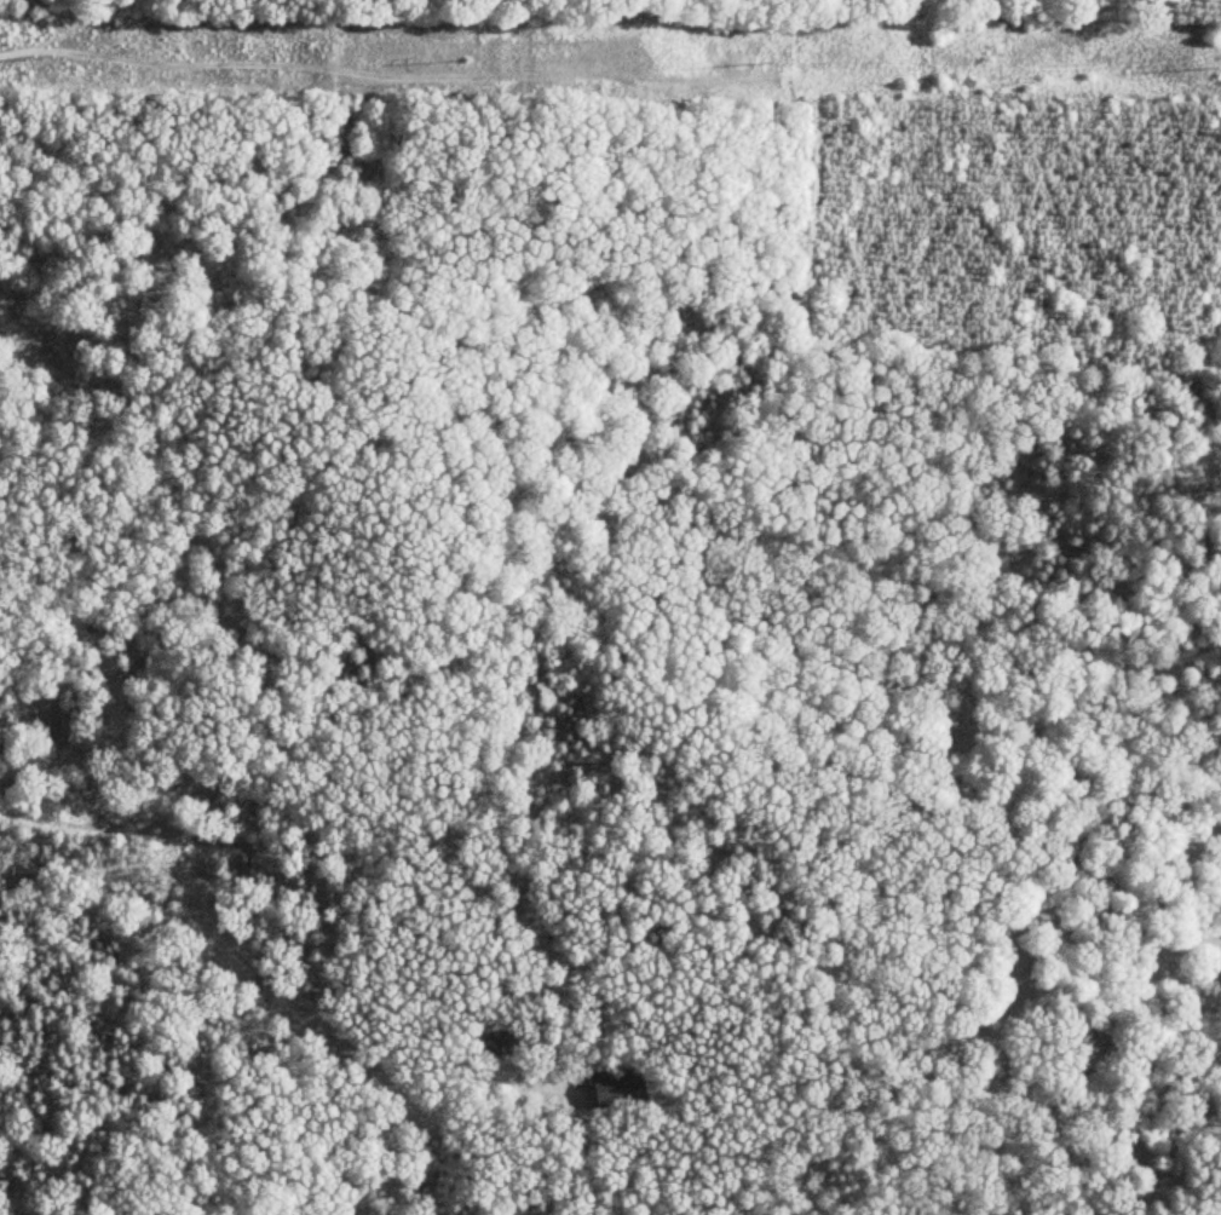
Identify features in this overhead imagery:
building: (500, 1040)
building: (616, 1088)

